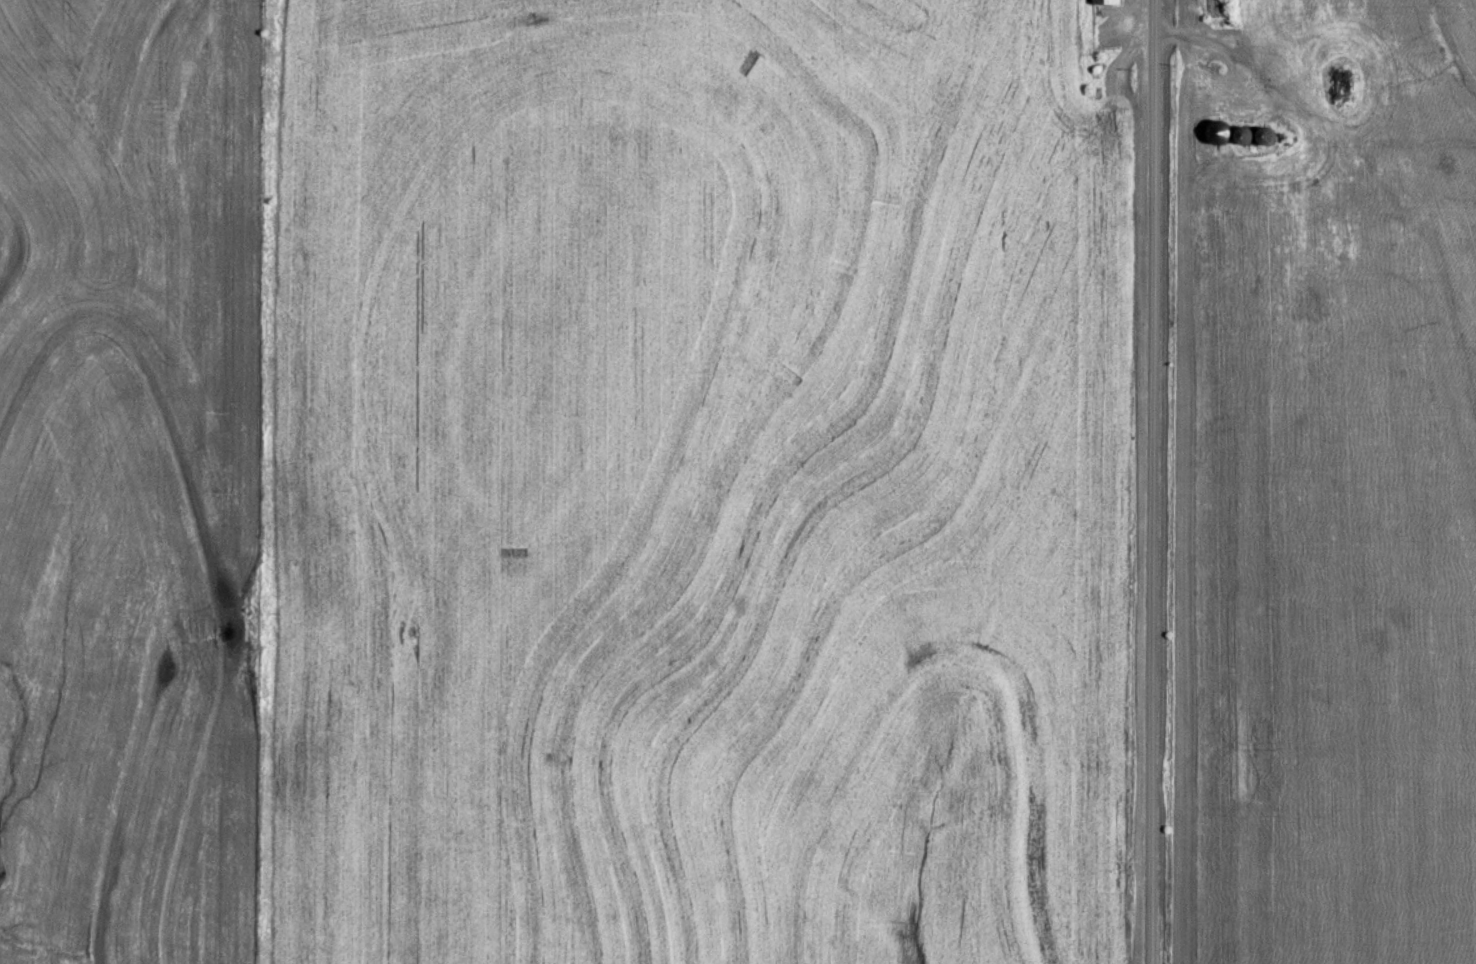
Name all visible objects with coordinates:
building: (1105, 0)
road: (1152, 482)

